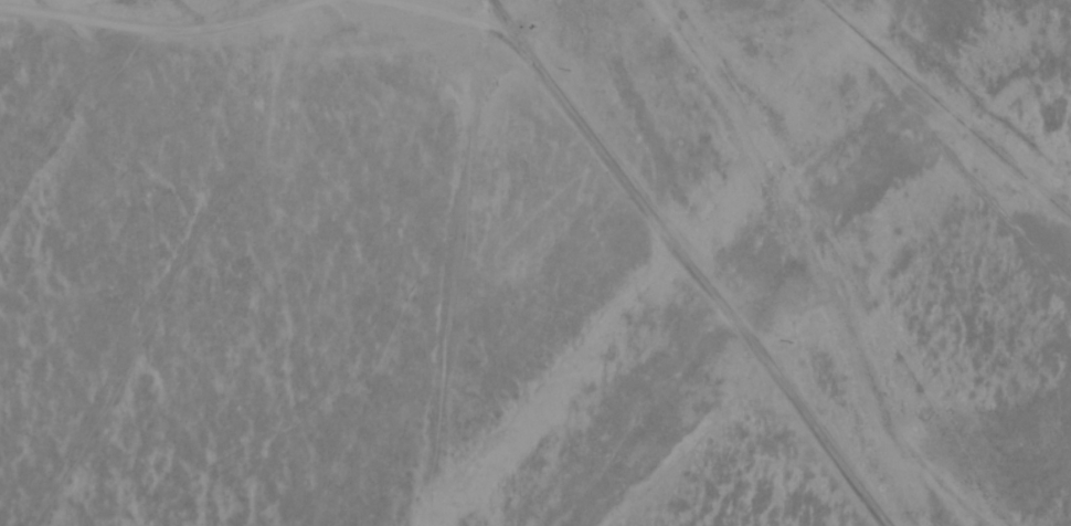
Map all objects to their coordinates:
road: (702, 260)
road: (774, 270)

